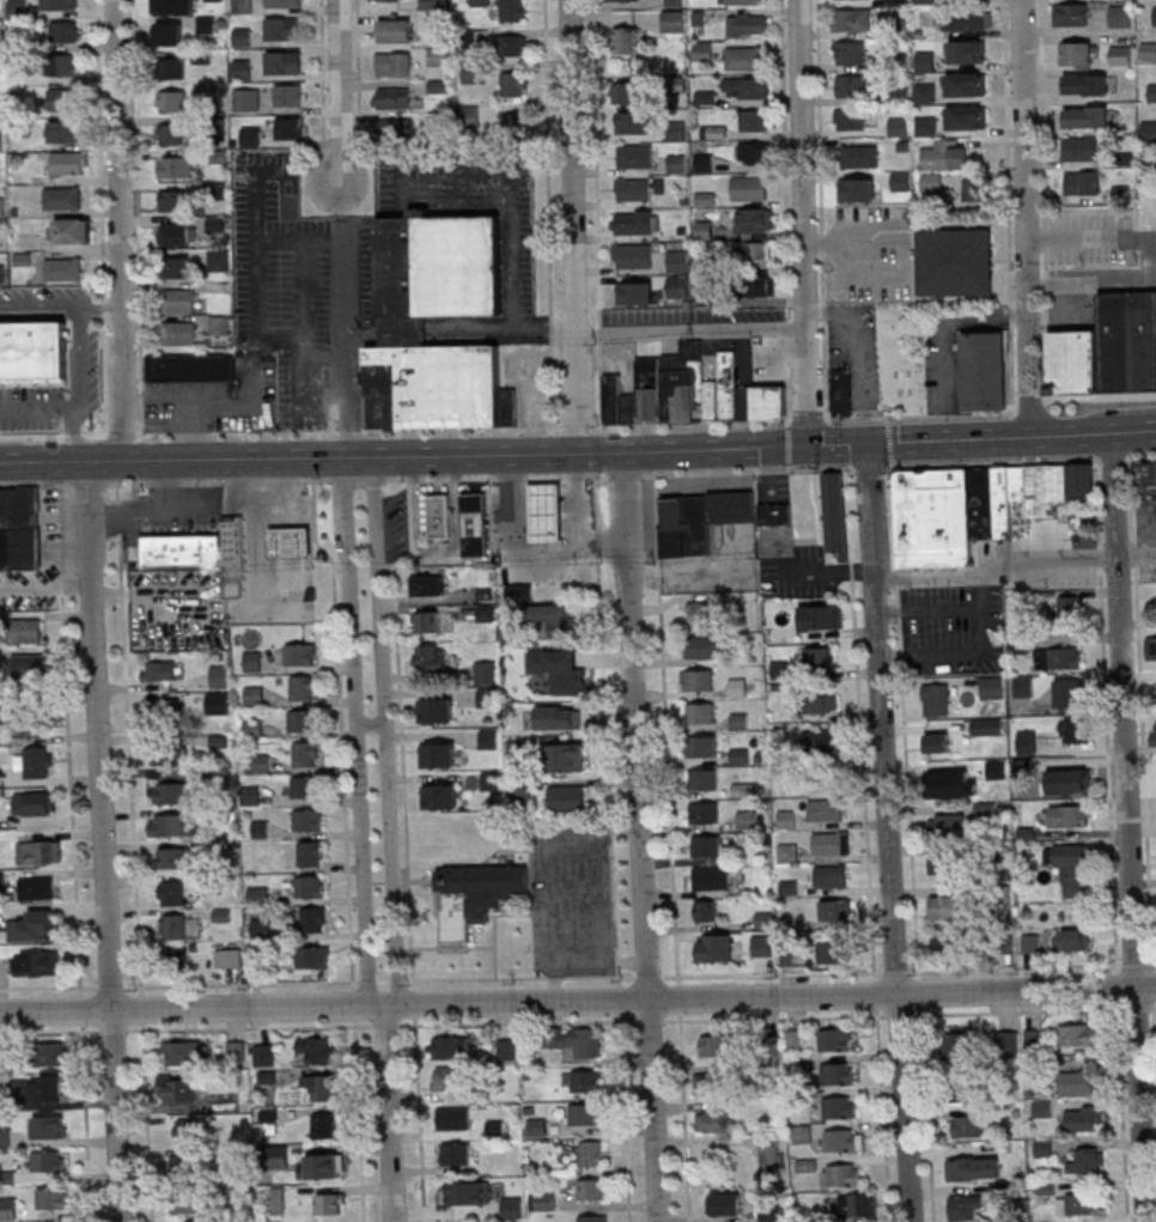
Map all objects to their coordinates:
building: (896, 0)
building: (622, 1)
building: (744, 1)
building: (924, 1)
building: (282, 2)
building: (481, 4)
building: (59, 5)
building: (434, 5)
building: (243, 6)
building: (17, 10)
building: (512, 10)
building: (1071, 14)
building: (1155, 14)
building: (1119, 18)
building: (852, 19)
building: (967, 20)
building: (671, 23)
building: (207, 24)
building: (747, 24)
building: (898, 28)
building: (285, 29)
building: (395, 30)
building: (65, 31)
building: (168, 34)
building: (242, 36)
building: (466, 38)
building: (623, 41)
building: (513, 44)
building: (966, 50)
building: (702, 51)
building: (1148, 51)
building: (852, 53)
building: (1075, 53)
building: (1120, 56)
building: (438, 57)
building: (743, 59)
building: (925, 60)
building: (285, 61)
building: (394, 63)
building: (899, 63)
building: (62, 65)
building: (175, 68)
road: (323, 68)
building: (242, 69)
building: (473, 74)
road: (358, 75)
building: (513, 84)
building: (676, 84)
building: (965, 84)
building: (1085, 85)
building: (851, 86)
building: (746, 89)
road: (339, 91)
building: (628, 92)
building: (926, 92)
building: (1154, 92)
building: (287, 95)
building: (900, 95)
building: (61, 98)
building: (394, 98)
building: (247, 99)
building: (172, 101)
building: (469, 116)
building: (1085, 116)
building: (965, 117)
building: (851, 118)
building: (754, 121)
building: (633, 122)
building: (515, 123)
building: (217, 126)
building: (899, 126)
building: (926, 126)
building: (290, 128)
building: (63, 130)
building: (676, 130)
building: (171, 133)
building: (1, 134)
building: (250, 136)
road: (1044, 136)
building: (1079, 148)
building: (755, 153)
building: (944, 154)
building: (634, 157)
building: (859, 157)
building: (68, 162)
building: (704, 163)
building: (676, 164)
building: (177, 166)
building: (901, 181)
building: (931, 182)
building: (1082, 182)
building: (850, 186)
building: (749, 188)
building: (215, 189)
road: (507, 189)
building: (633, 189)
building: (974, 189)
road: (456, 194)
building: (62, 197)
building: (174, 200)
parking lot: (470, 205)
road: (1008, 205)
building: (2, 207)
road: (820, 209)
road: (785, 211)
road: (548, 214)
road: (597, 214)
road: (102, 218)
road: (136, 218)
building: (754, 219)
road: (1028, 219)
building: (635, 221)
road: (804, 223)
road: (572, 227)
building: (71, 230)
building: (704, 230)
road: (118, 231)
building: (175, 233)
parking lot: (1094, 237)
road: (299, 243)
road: (820, 243)
road: (1093, 243)
building: (758, 253)
building: (631, 255)
parking lot: (870, 256)
building: (218, 259)
road: (257, 261)
building: (679, 261)
parking lot: (1146, 261)
building: (951, 265)
building: (178, 267)
building: (63, 269)
building: (2, 273)
road: (840, 279)
parking lot: (293, 280)
road: (1093, 282)
building: (760, 286)
building: (647, 291)
building: (707, 296)
parking lot: (43, 297)
building: (181, 299)
road: (60, 312)
building: (219, 324)
building: (180, 333)
road: (302, 333)
building: (402, 333)
road: (692, 333)
road: (506, 336)
road: (1046, 336)
road: (947, 339)
building: (1127, 342)
road: (345, 349)
parking lot: (854, 349)
building: (35, 352)
road: (858, 357)
road: (79, 361)
parking lot: (939, 361)
building: (1075, 363)
building: (187, 370)
building: (979, 373)
building: (730, 384)
building: (840, 393)
parking lot: (57, 394)
road: (1100, 396)
building: (714, 400)
building: (769, 402)
building: (746, 403)
road: (1029, 403)
road: (61, 409)
road: (921, 415)
road: (889, 419)
road: (809, 420)
road: (787, 421)
road: (463, 430)
road: (1133, 433)
road: (122, 434)
road: (53, 436)
building: (903, 439)
road: (889, 442)
traffic signals: (869, 444)
road: (787, 445)
traffic signals: (811, 446)
road: (555, 455)
road: (1113, 458)
road: (1140, 460)
road: (996, 462)
road: (892, 463)
road: (870, 466)
road: (425, 476)
building: (1018, 485)
building: (1148, 485)
building: (1083, 491)
building: (1049, 494)
building: (734, 505)
building: (982, 505)
building: (1003, 505)
road: (580, 509)
building: (546, 510)
road: (819, 513)
building: (774, 515)
building: (836, 517)
building: (434, 518)
building: (932, 521)
building: (475, 522)
parking lot: (400, 523)
building: (699, 525)
building: (675, 527)
building: (17, 530)
road: (639, 531)
building: (291, 540)
building: (182, 549)
building: (235, 555)
road: (533, 561)
road: (1014, 567)
parking lot: (1146, 571)
parking lot: (1051, 576)
building: (425, 585)
building: (1069, 608)
road: (929, 612)
building: (706, 613)
building: (558, 618)
building: (820, 618)
building: (426, 621)
building: (28, 630)
parking lot: (953, 633)
building: (705, 648)
building: (1151, 649)
building: (300, 653)
road: (968, 653)
building: (430, 657)
building: (819, 658)
building: (1059, 659)
building: (251, 661)
building: (32, 665)
building: (159, 670)
building: (778, 670)
building: (487, 671)
road: (398, 674)
building: (567, 675)
building: (219, 676)
building: (699, 680)
building: (303, 687)
building: (991, 687)
building: (1154, 689)
building: (1072, 692)
building: (254, 694)
building: (488, 697)
building: (935, 699)
building: (816, 704)
building: (165, 709)
building: (436, 710)
building: (700, 713)
building: (559, 717)
building: (302, 721)
road: (862, 721)
building: (738, 722)
building: (29, 723)
road: (370, 725)
building: (985, 725)
road: (607, 726)
road: (665, 728)
road: (341, 731)
building: (1077, 731)
road: (129, 734)
road: (355, 734)
road: (385, 734)
road: (1143, 734)
building: (1154, 735)
road: (68, 737)
building: (488, 738)
building: (1028, 741)
building: (819, 742)
building: (936, 743)
building: (702, 747)
building: (169, 752)
building: (306, 754)
building: (437, 754)
building: (566, 756)
building: (35, 761)
building: (1077, 776)
building: (491, 779)
building: (704, 779)
building: (949, 784)
building: (303, 786)
building: (169, 794)
building: (439, 796)
building: (567, 798)
building: (35, 802)
building: (825, 810)
building: (704, 813)
building: (1070, 816)
building: (308, 819)
building: (748, 819)
building: (786, 819)
building: (172, 825)
building: (948, 825)
road: (1128, 828)
road: (889, 833)
road: (103, 841)
building: (832, 844)
building: (707, 846)
road: (503, 847)
building: (39, 852)
building: (310, 852)
building: (789, 852)
building: (172, 857)
building: (945, 863)
building: (1071, 867)
road: (552, 870)
road: (433, 874)
building: (831, 876)
building: (712, 878)
road: (421, 880)
building: (2, 883)
building: (314, 886)
building: (36, 888)
building: (170, 893)
building: (474, 895)
parking lot: (571, 900)
building: (950, 907)
building: (705, 911)
building: (834, 911)
road: (645, 917)
building: (315, 919)
building: (32, 926)
building: (261, 928)
road: (495, 929)
road: (410, 931)
building: (1070, 940)
building: (174, 941)
building: (949, 941)
building: (1030, 943)
building: (762, 946)
road: (452, 947)
building: (714, 948)
building: (834, 952)
building: (315, 956)
building: (232, 957)
building: (32, 963)
road: (772, 973)
road: (597, 977)
road: (553, 978)
road: (475, 979)
road: (242, 984)
road: (49, 987)
road: (578, 1001)
road: (1027, 1010)
road: (774, 1017)
road: (1155, 1021)
road: (517, 1022)
road: (249, 1027)
road: (49, 1031)
building: (1078, 1035)
building: (1033, 1036)
building: (839, 1039)
building: (577, 1040)
building: (1010, 1042)
building: (961, 1044)
building: (713, 1046)
building: (451, 1047)
building: (317, 1048)
building: (182, 1052)
building: (51, 1053)
building: (838, 1072)
building: (446, 1078)
building: (585, 1081)
building: (716, 1083)
building: (1077, 1084)
building: (321, 1086)
building: (50, 1088)
building: (180, 1089)
building: (969, 1089)
building: (840, 1107)
road: (389, 1113)
building: (585, 1114)
road: (884, 1114)
road: (927, 1114)
road: (625, 1117)
road: (685, 1117)
road: (419, 1118)
building: (454, 1118)
road: (359, 1119)
building: (1084, 1119)
road: (147, 1120)
road: (86, 1121)
building: (717, 1121)
building: (324, 1125)
building: (967, 1125)
building: (49, 1127)
building: (187, 1131)
building: (803, 1137)
building: (844, 1139)
building: (1044, 1148)
building: (455, 1153)
building: (591, 1153)
building: (771, 1156)
building: (49, 1161)
building: (1087, 1161)
building: (185, 1162)
building: (325, 1165)
building: (808, 1165)
building: (973, 1168)
building: (844, 1174)
building: (591, 1190)
building: (53, 1199)
building: (546, 1200)
building: (189, 1202)
building: (330, 1203)
building: (725, 1204)
building: (1077, 1204)
building: (857, 1205)
building: (963, 1206)
building: (10, 1209)
building: (769, 1212)
building: (592, 1218)

